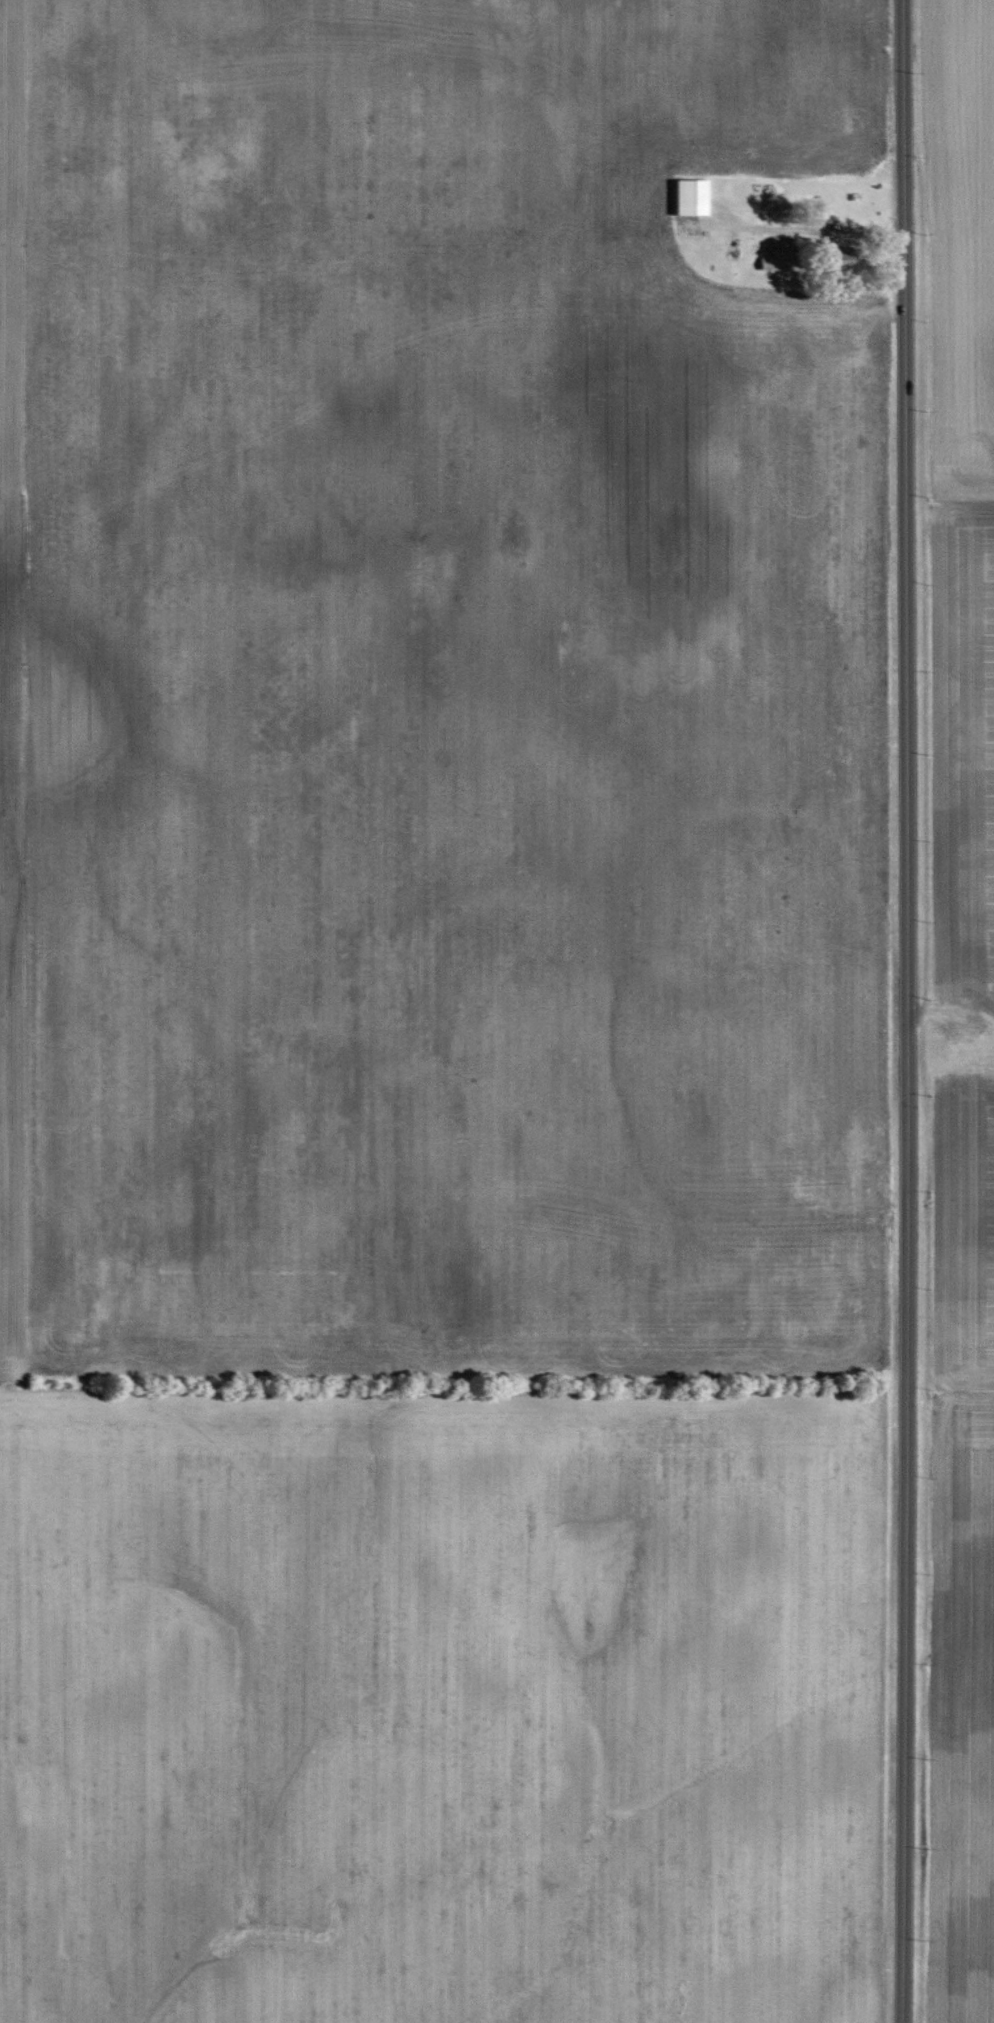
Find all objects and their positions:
building: (691, 197)
road: (830, 228)
building: (837, 254)
building: (774, 263)
road: (905, 1011)

